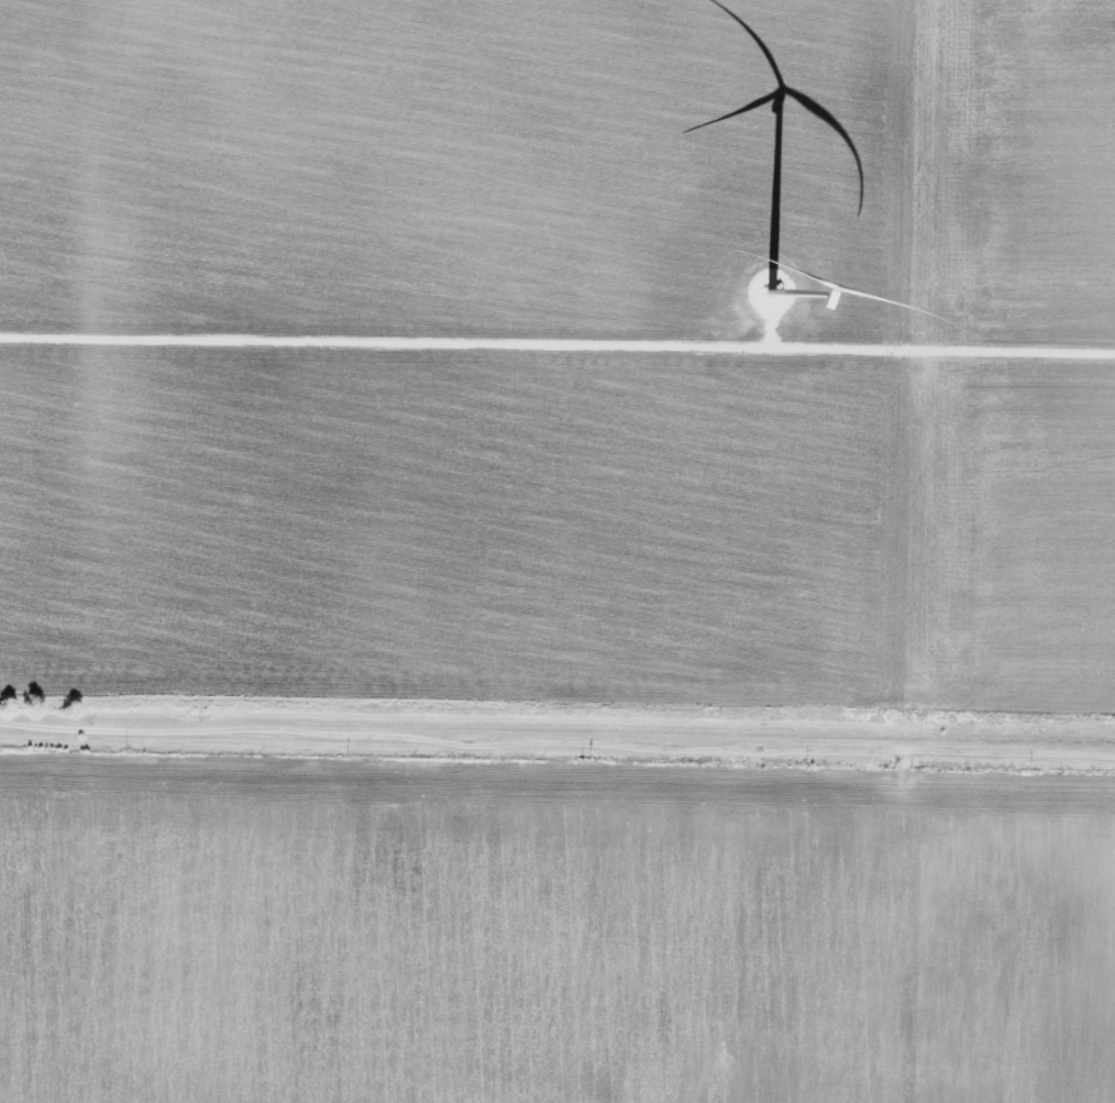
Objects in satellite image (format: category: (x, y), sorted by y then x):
wind turbine: (777, 291)
road: (556, 748)
road: (897, 930)

